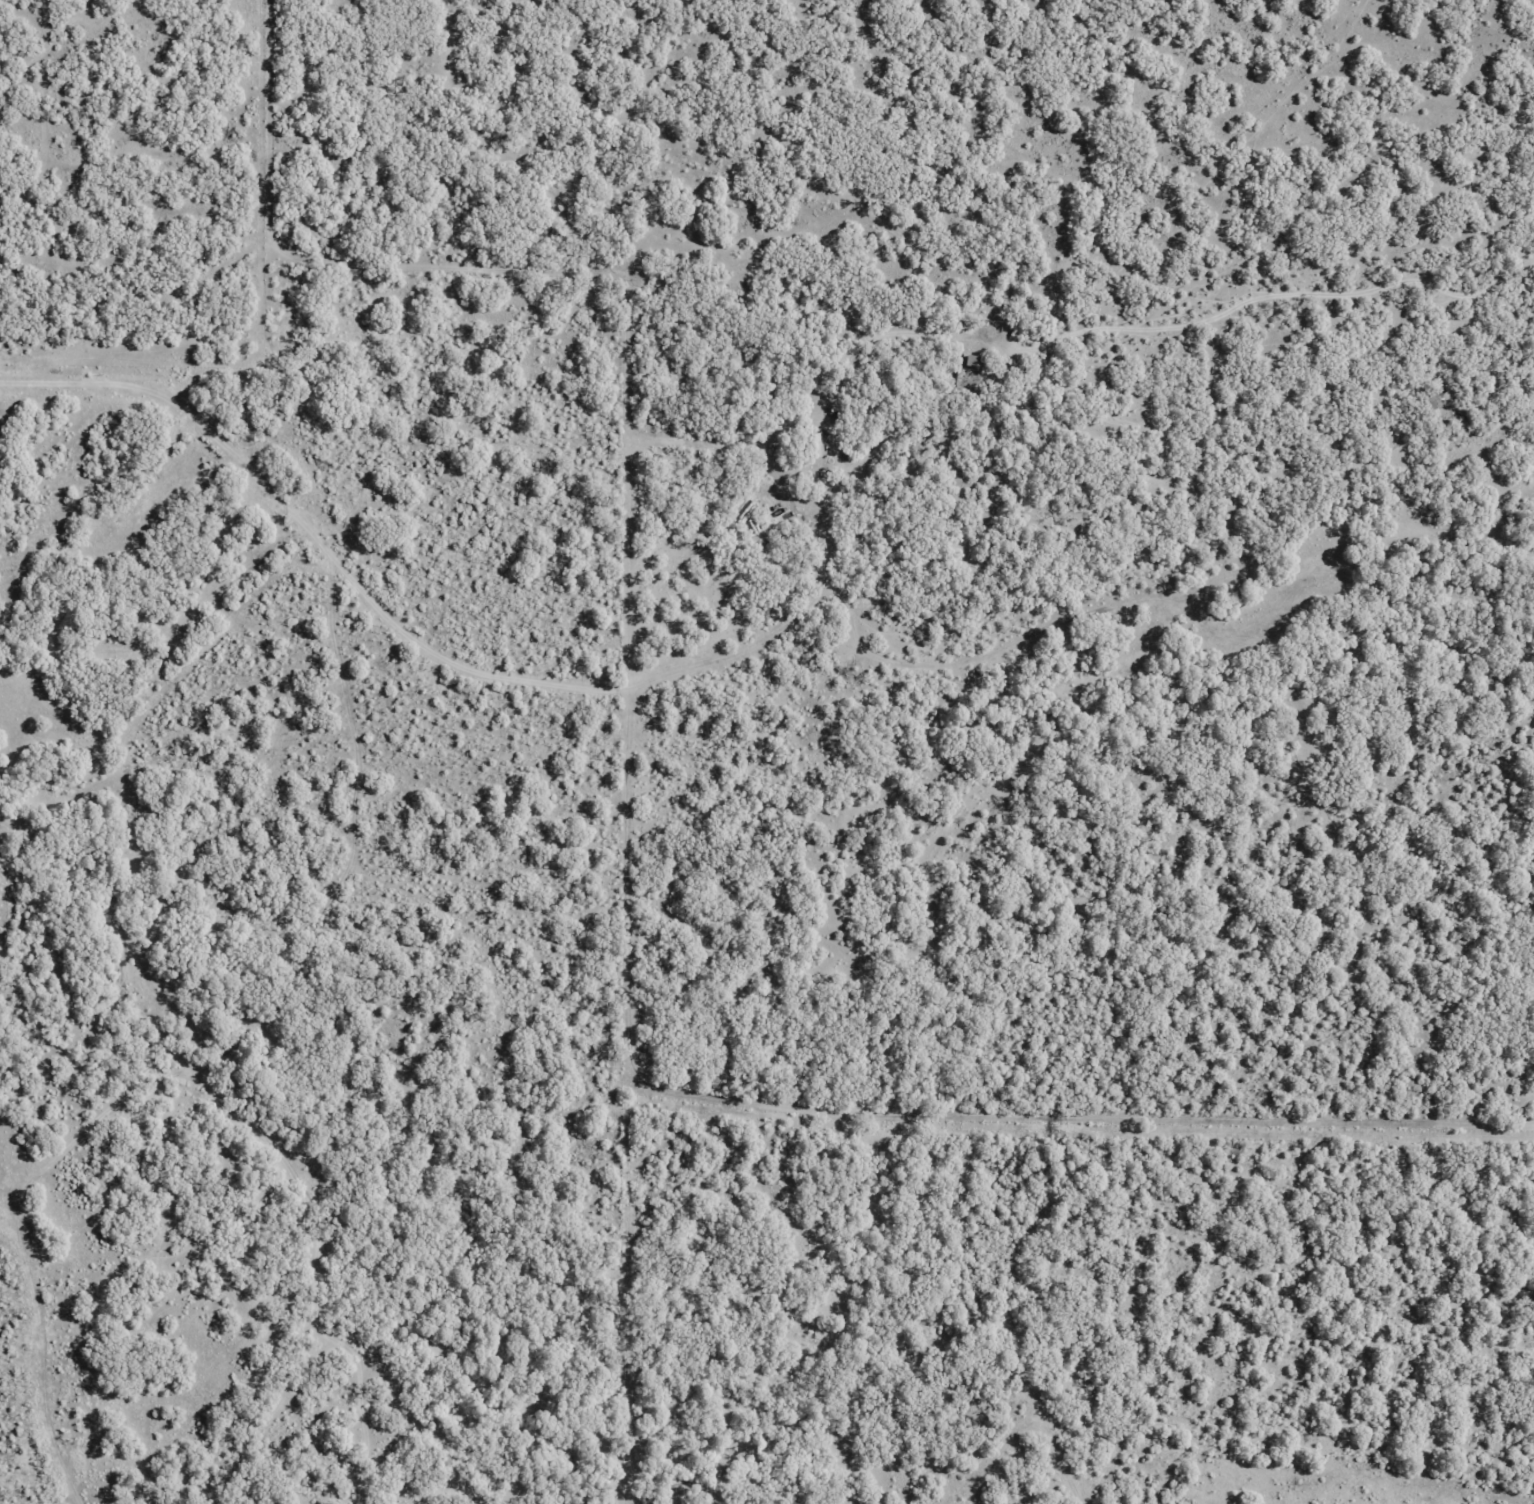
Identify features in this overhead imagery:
road: (687, 281)
building: (973, 359)
building: (1433, 401)

